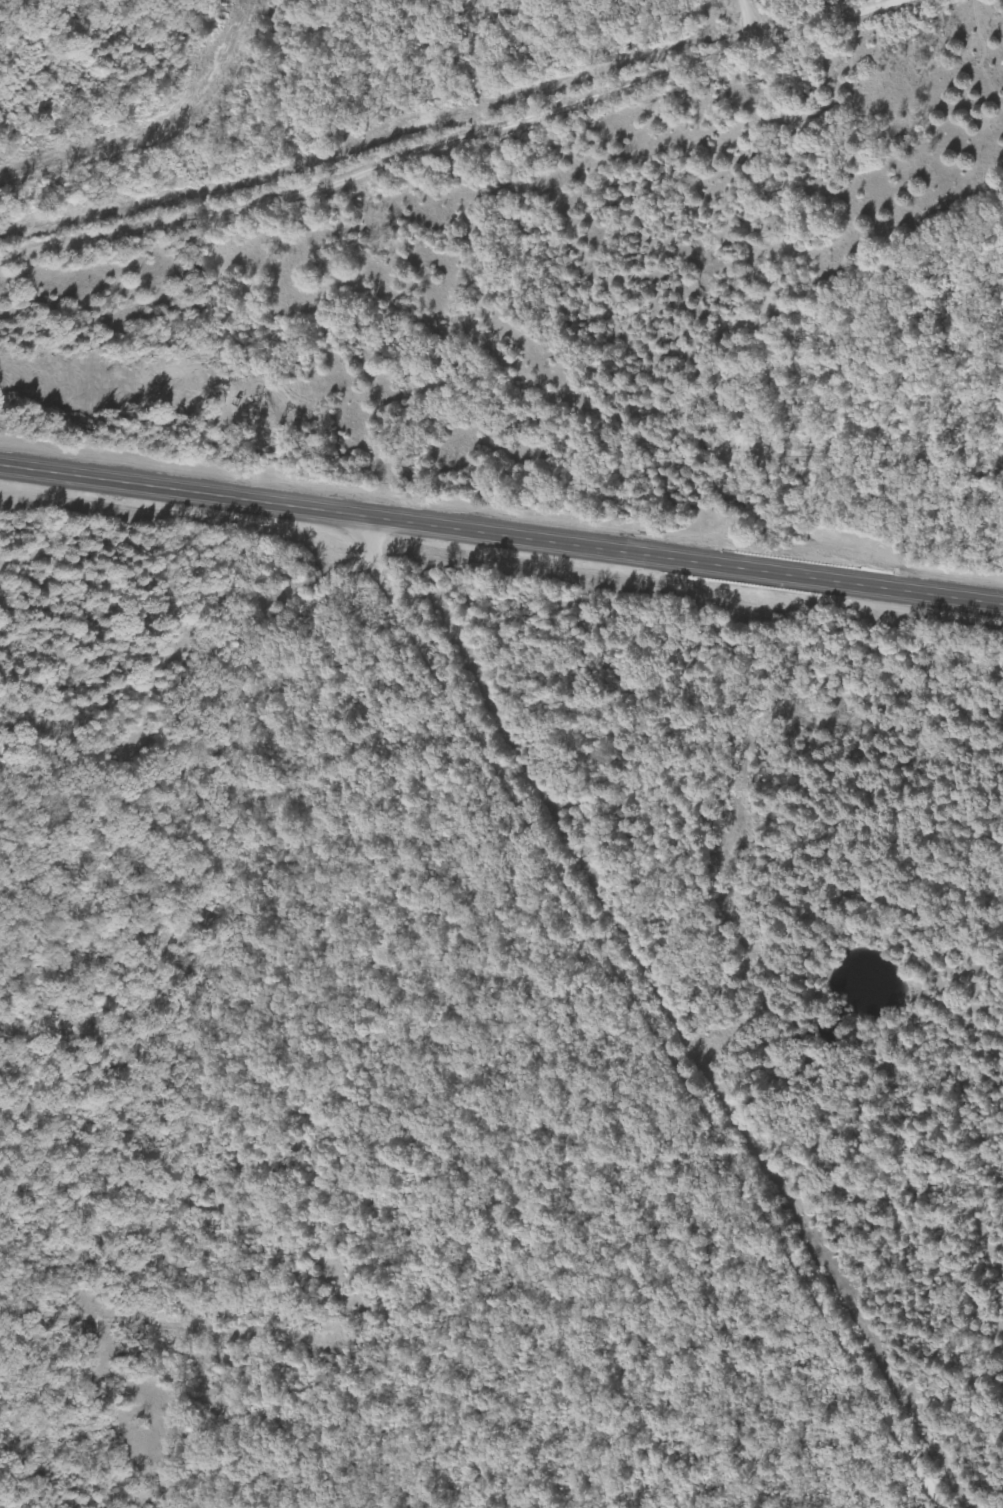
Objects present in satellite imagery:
road: (496, 148)
road: (499, 543)
road: (659, 1018)

